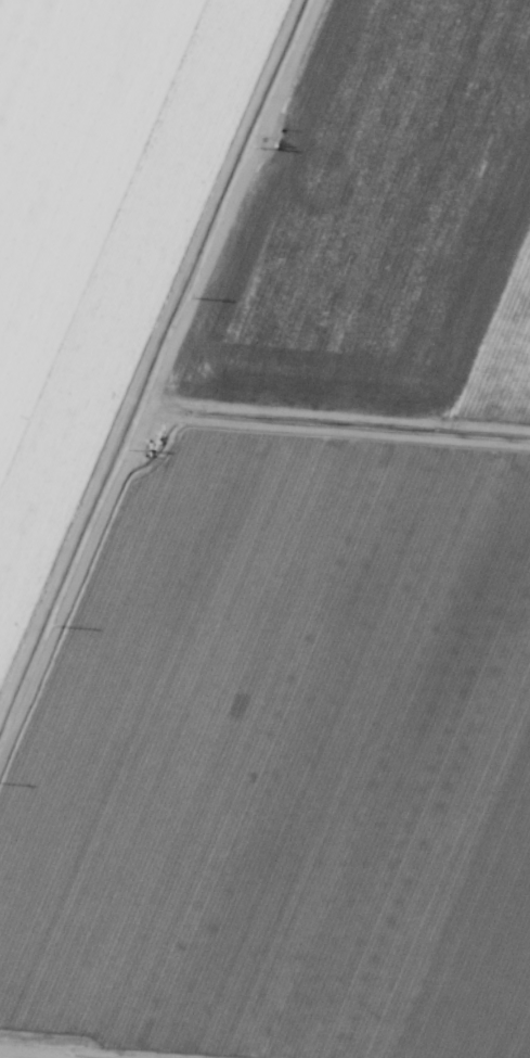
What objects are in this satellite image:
crop: (264, 528)

